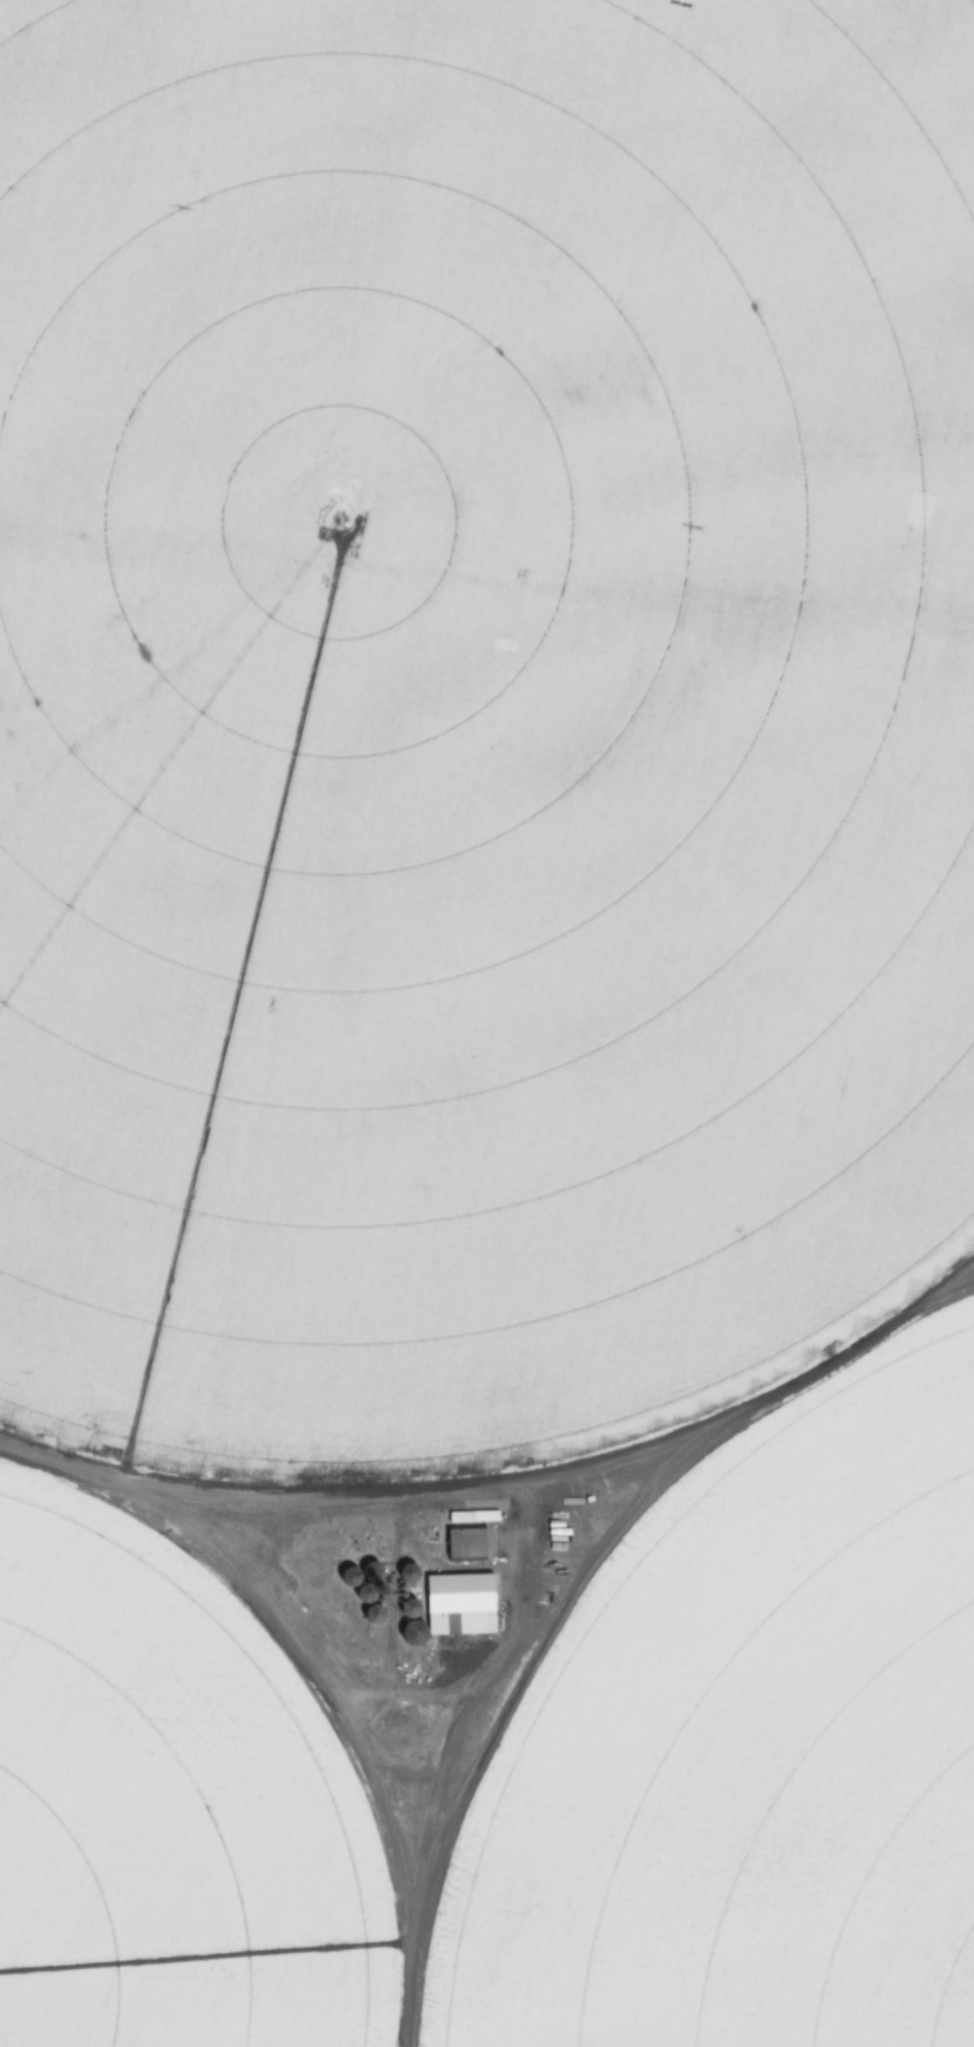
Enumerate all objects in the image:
crop: (477, 714)
road: (149, 1489)
building: (466, 1535)
building: (459, 1603)

